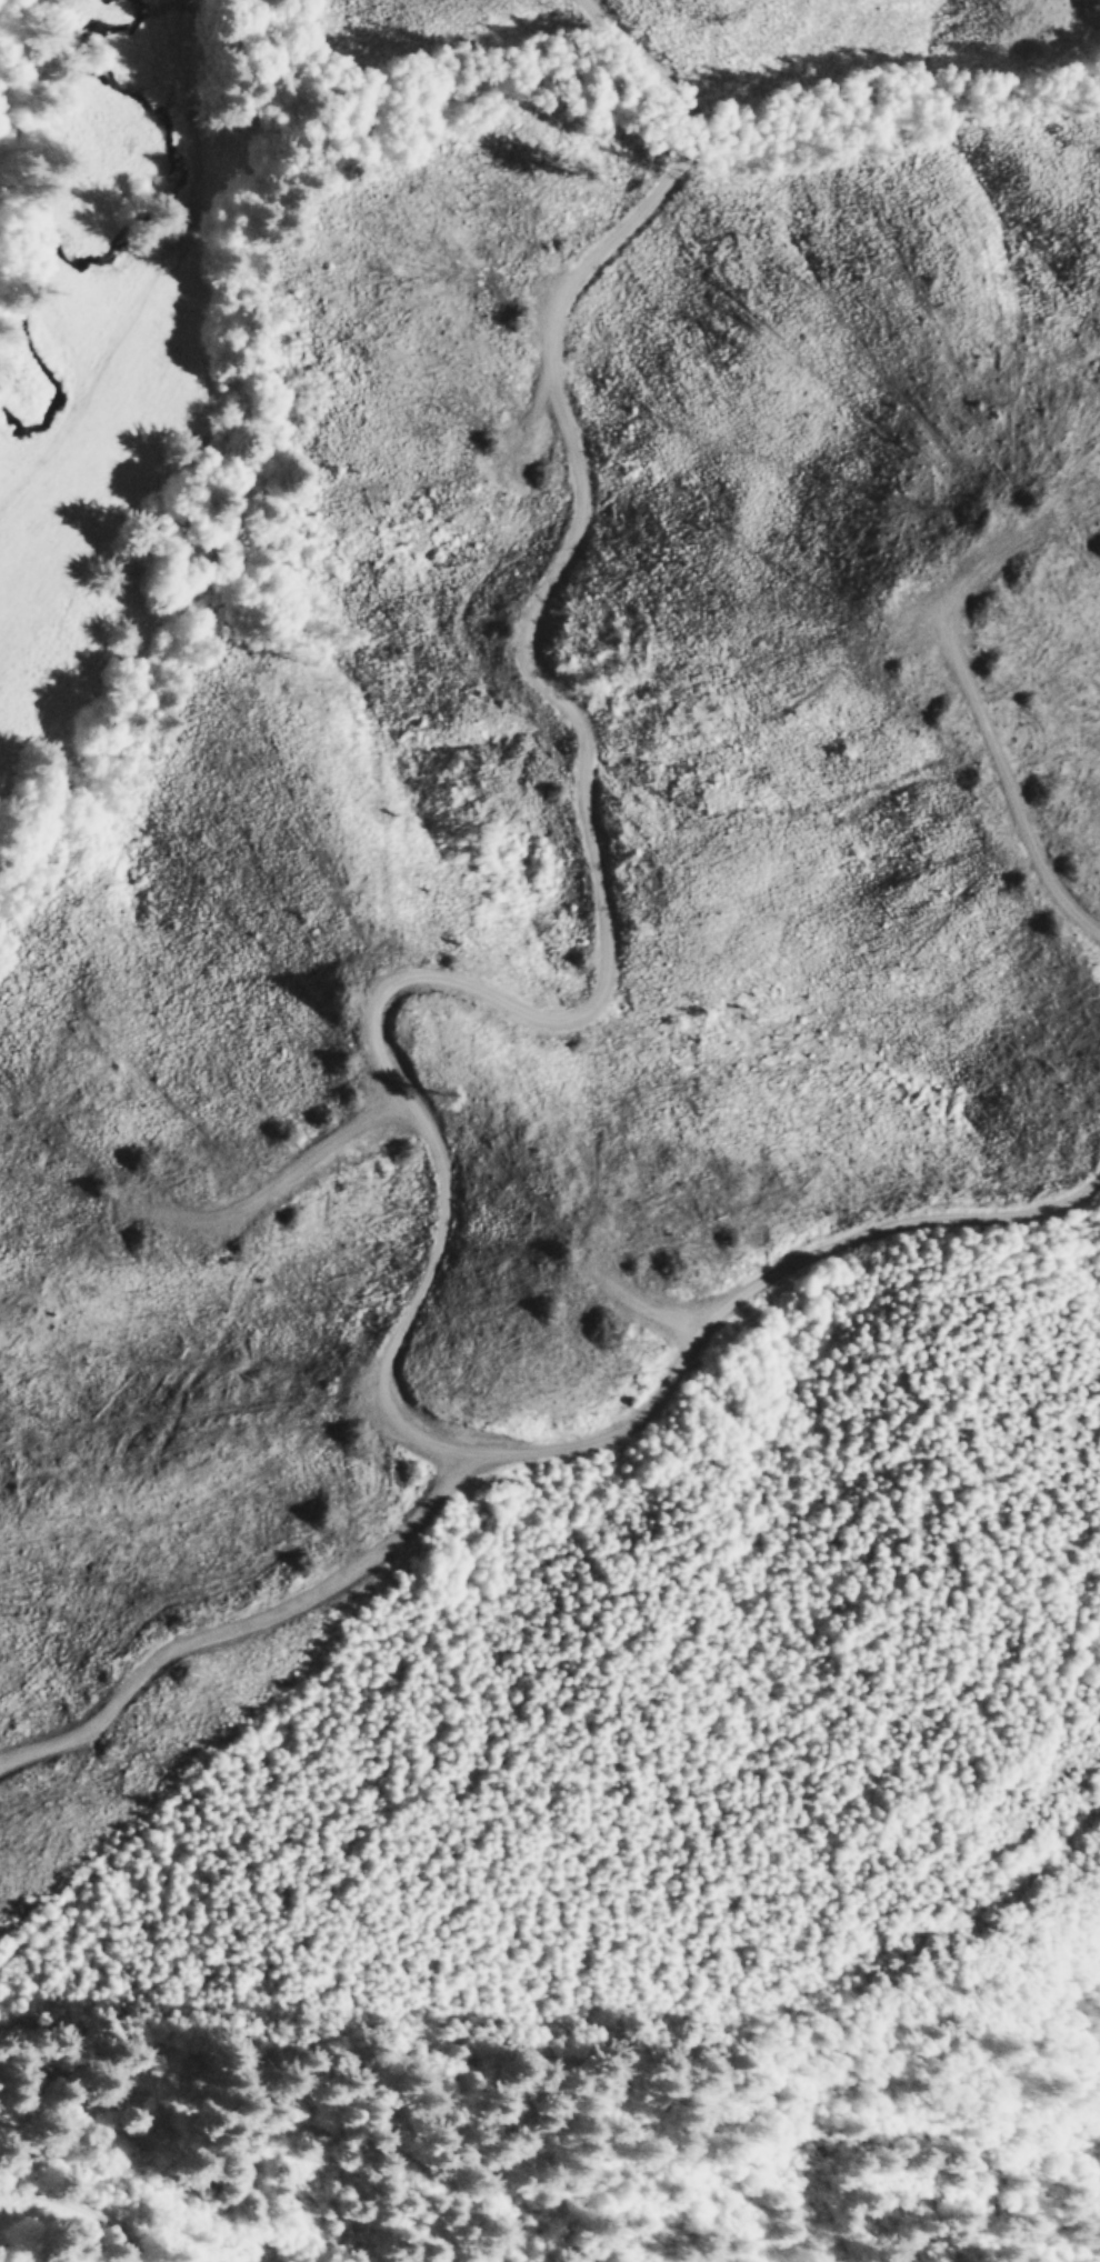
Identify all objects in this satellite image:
crop: (69, 497)
road: (533, 1015)

